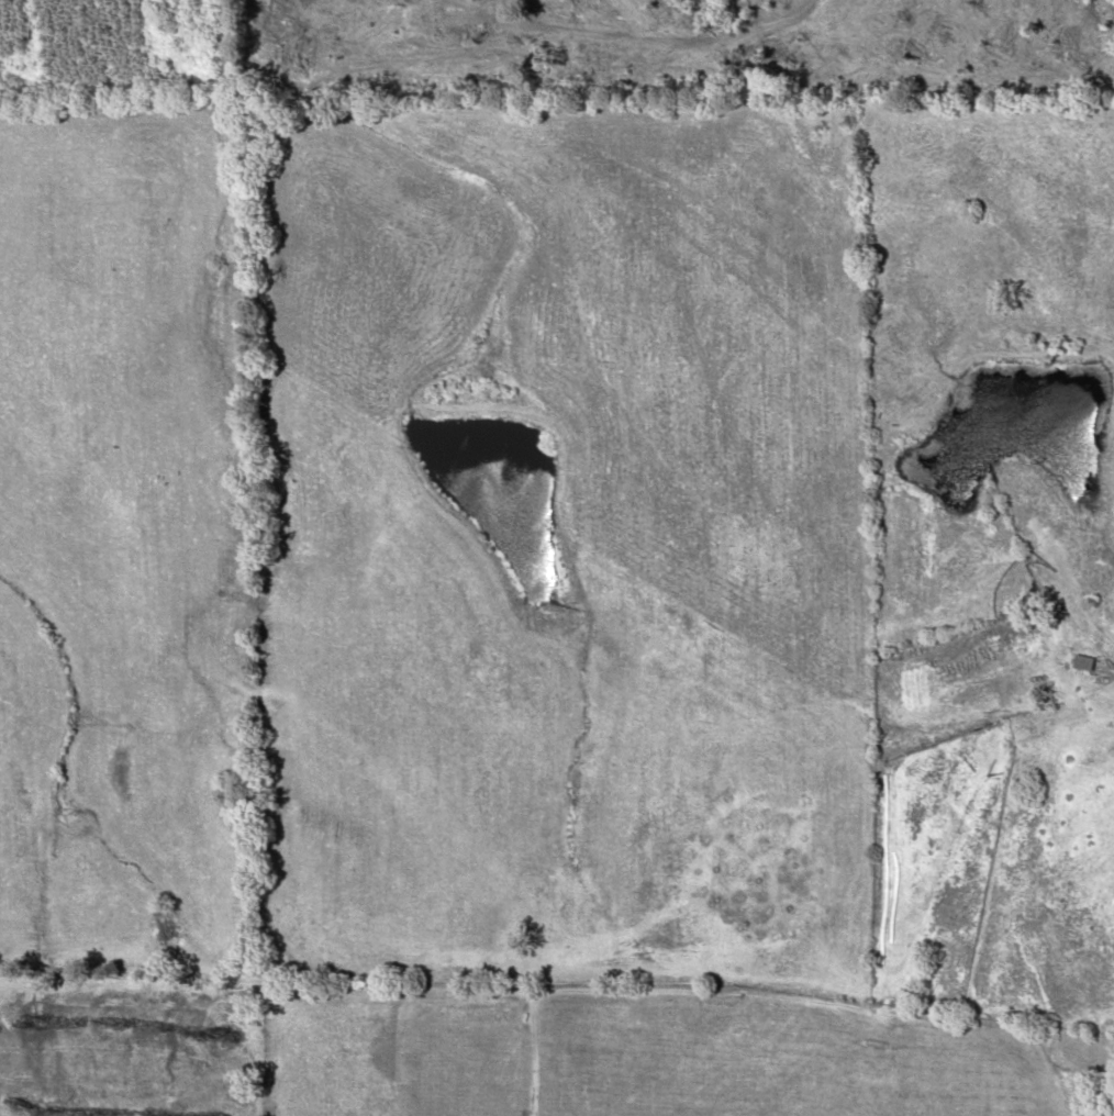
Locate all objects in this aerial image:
building: (1083, 663)

